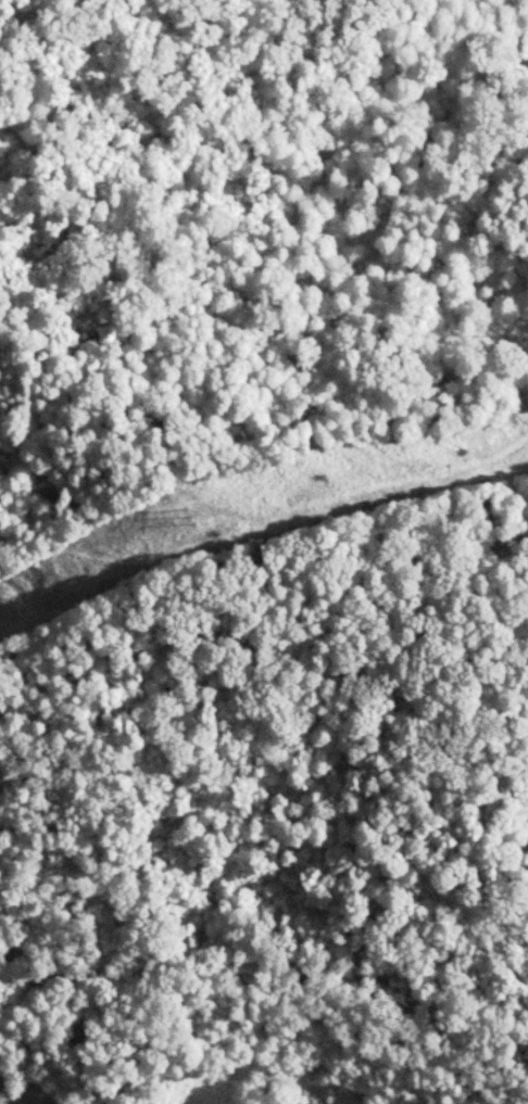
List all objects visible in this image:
power tower: (183, 512)

